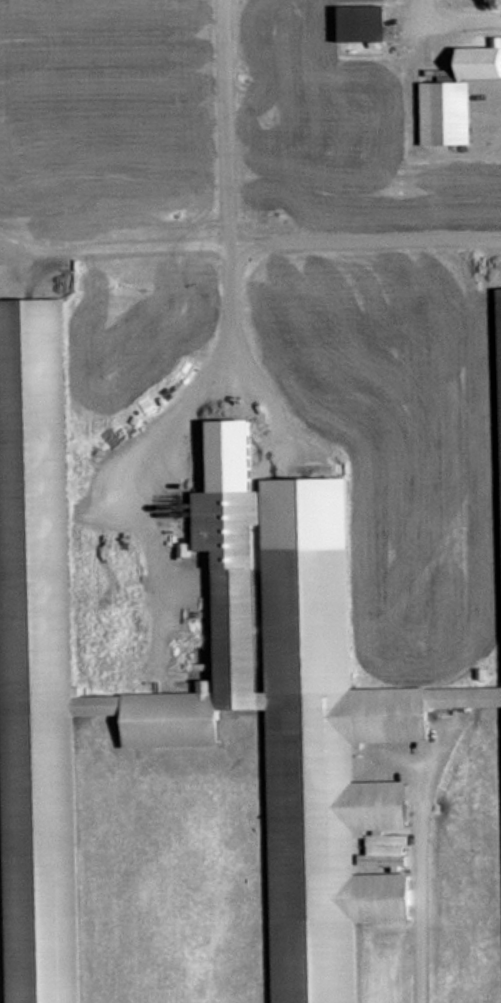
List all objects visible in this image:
building: (364, 23)
building: (456, 98)
building: (500, 313)
building: (315, 773)

